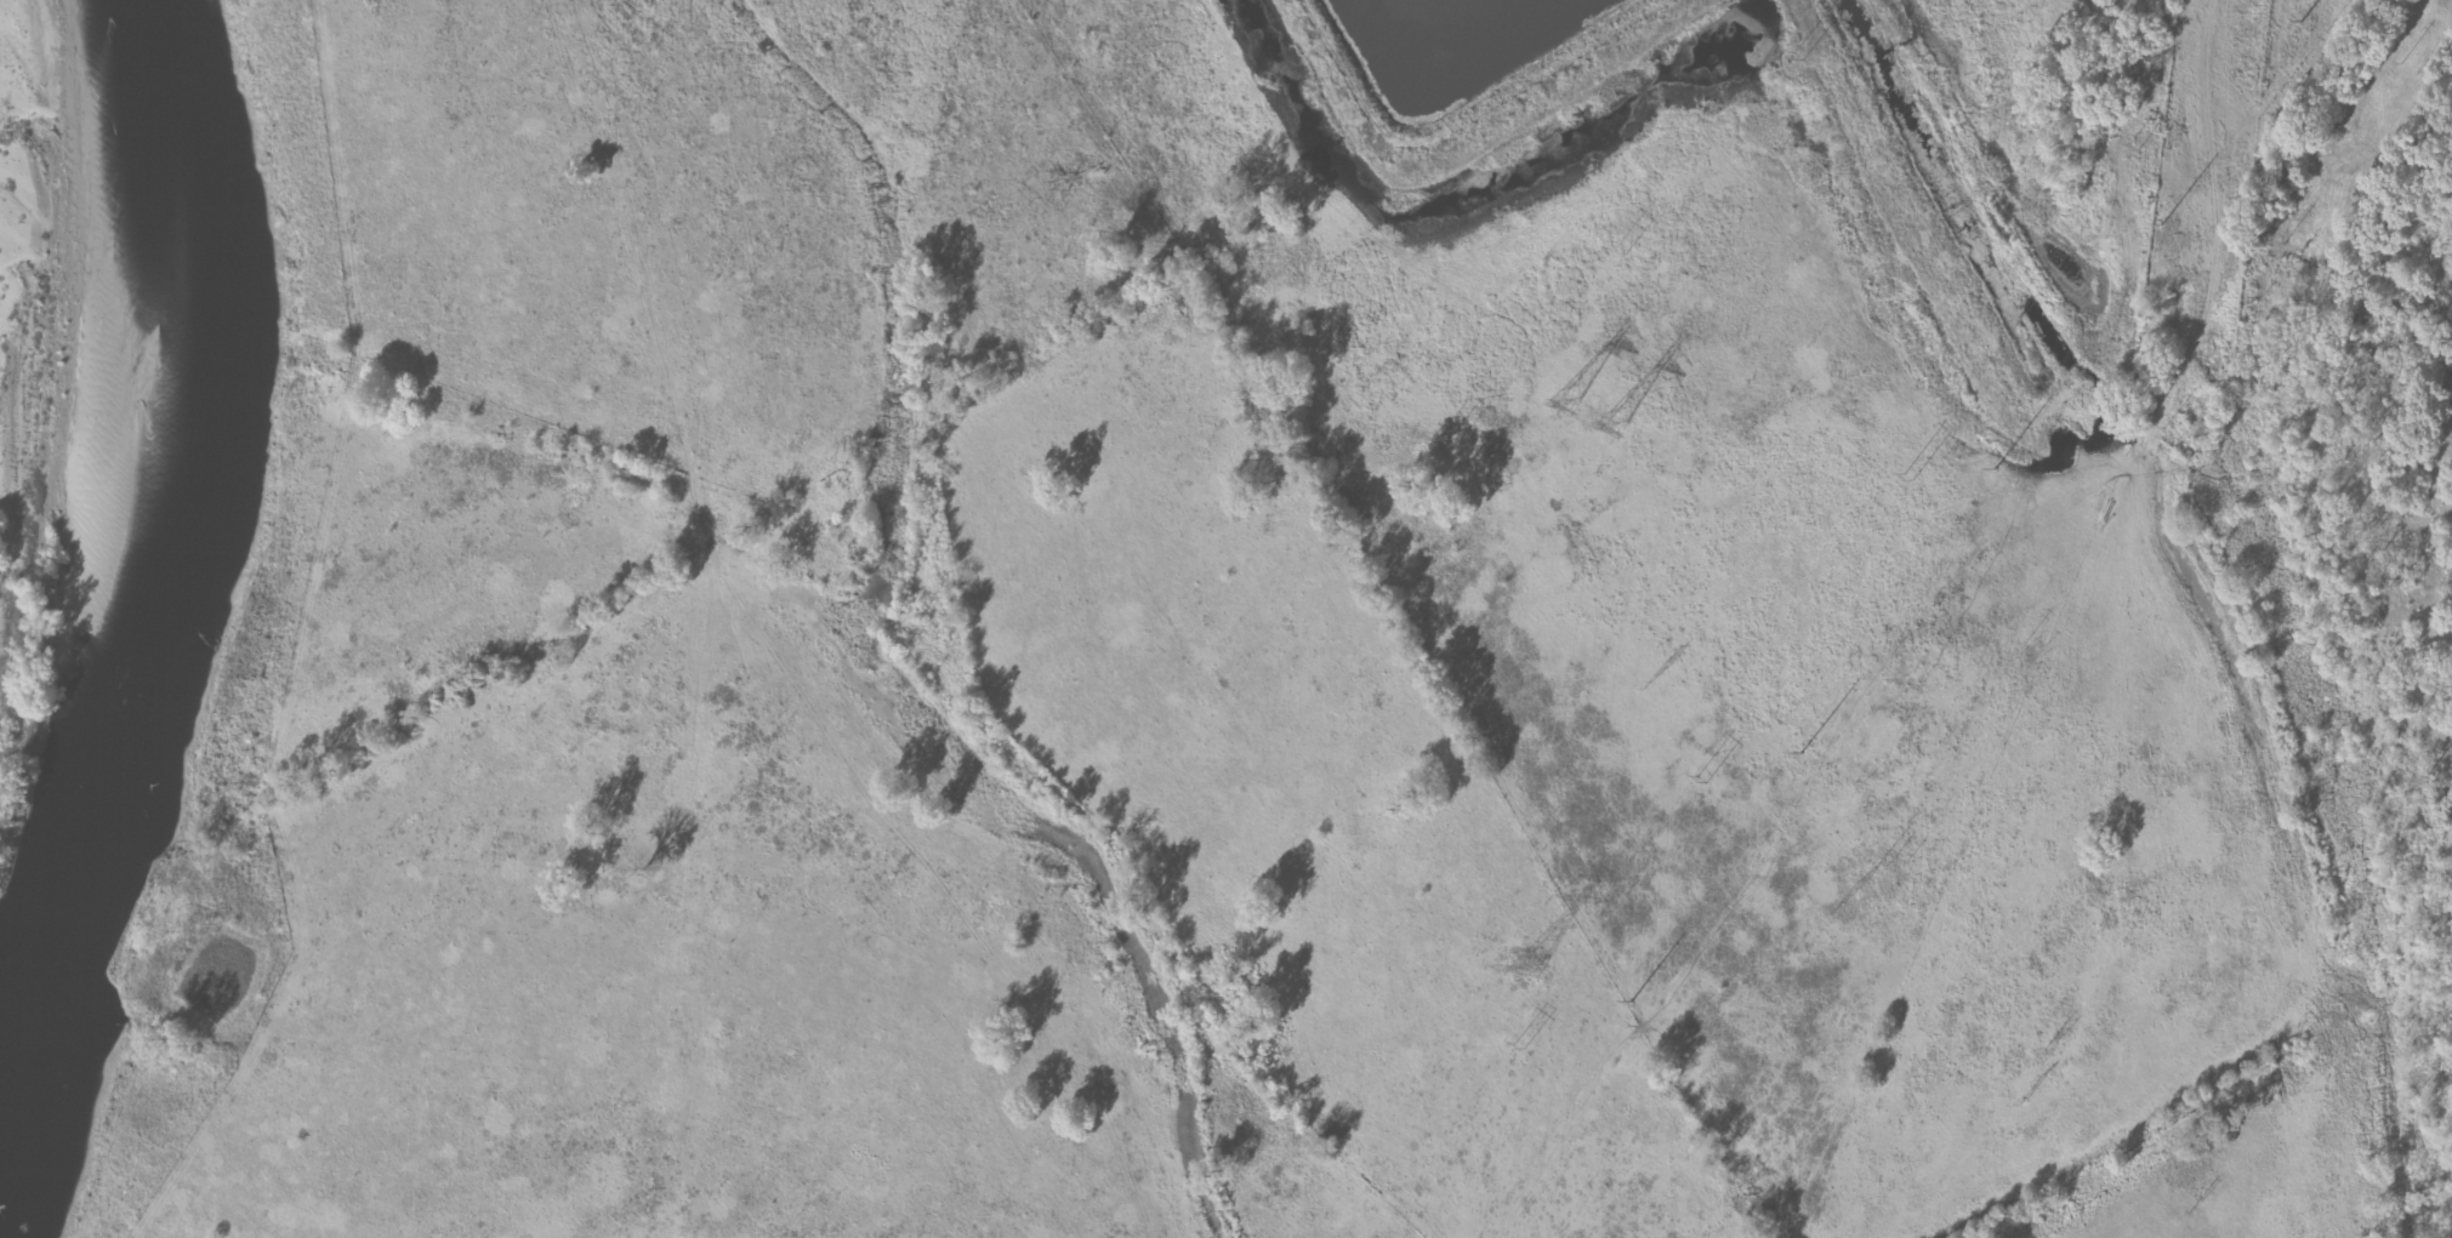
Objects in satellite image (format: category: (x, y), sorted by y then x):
power tower: (2303, 21)
power tower: (1800, 53)
power tower: (2134, 147)
power tower: (2162, 224)
power tower: (1622, 246)
power tower: (1617, 428)
power tower: (1452, 435)
power tower: (1995, 467)
power tower: (1911, 479)
power tower: (1657, 677)
power tower: (1800, 752)
power tower: (1706, 781)
power tower: (1850, 897)
power tower: (1529, 969)
power tower: (1629, 1000)
power tower: (2026, 1101)

